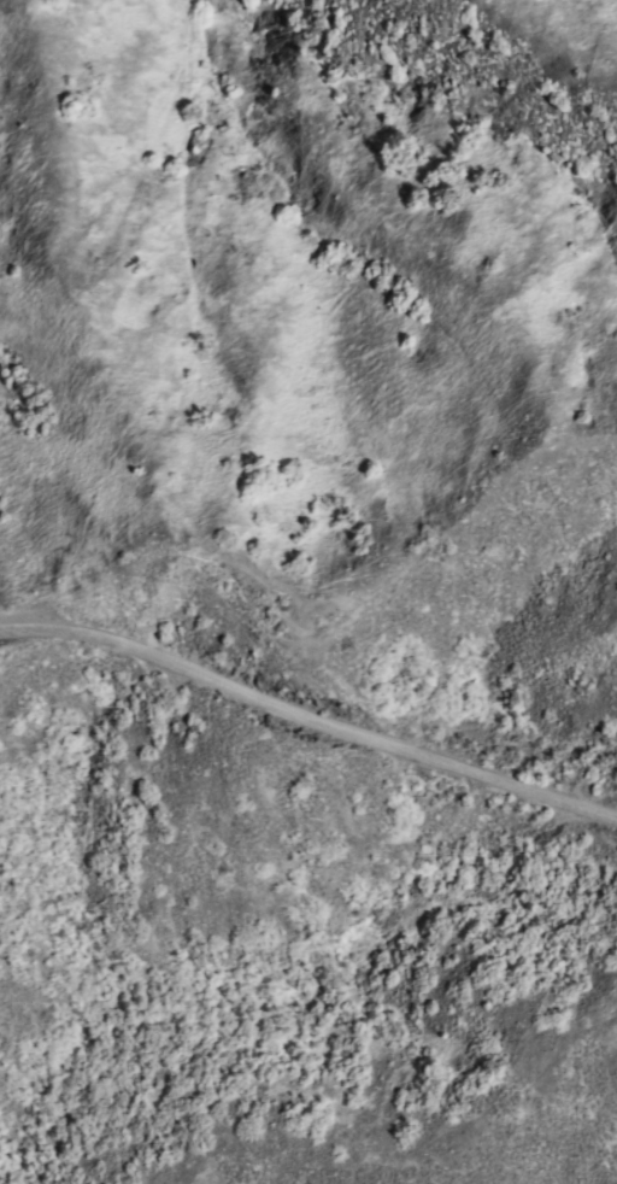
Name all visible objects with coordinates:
road: (310, 713)

